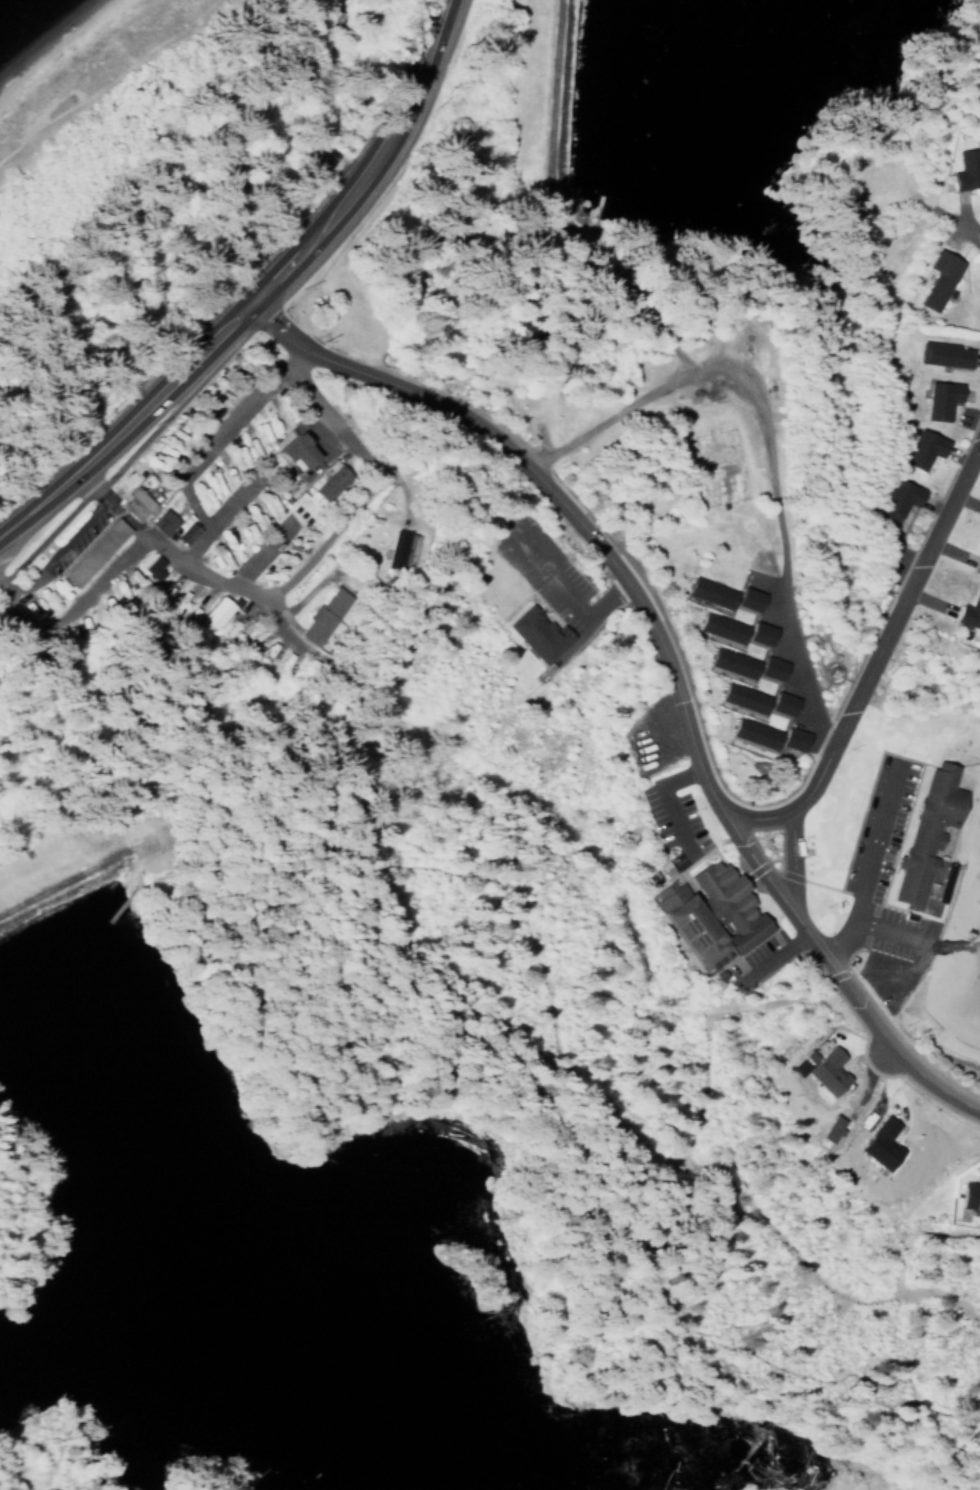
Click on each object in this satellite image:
dam: (560, 89)
building: (968, 167)
building: (939, 275)
road: (257, 291)
building: (943, 351)
building: (939, 396)
road: (345, 428)
building: (922, 446)
building: (290, 453)
building: (325, 488)
building: (898, 494)
building: (137, 503)
building: (160, 521)
building: (183, 533)
building: (92, 551)
building: (977, 562)
building: (150, 567)
building: (711, 589)
building: (744, 598)
building: (46, 599)
building: (188, 608)
building: (969, 608)
building: (214, 613)
building: (322, 615)
building: (722, 624)
building: (234, 625)
building: (534, 633)
building: (755, 633)
road: (870, 652)
road: (665, 654)
building: (733, 659)
building: (767, 668)
building: (744, 694)
building: (778, 703)
building: (755, 729)
building: (789, 739)
road: (669, 798)
building: (928, 826)
road: (792, 856)
road: (869, 861)
building: (712, 909)
road: (884, 925)
road: (775, 952)
building: (822, 1070)
building: (883, 1145)
building: (971, 1197)

